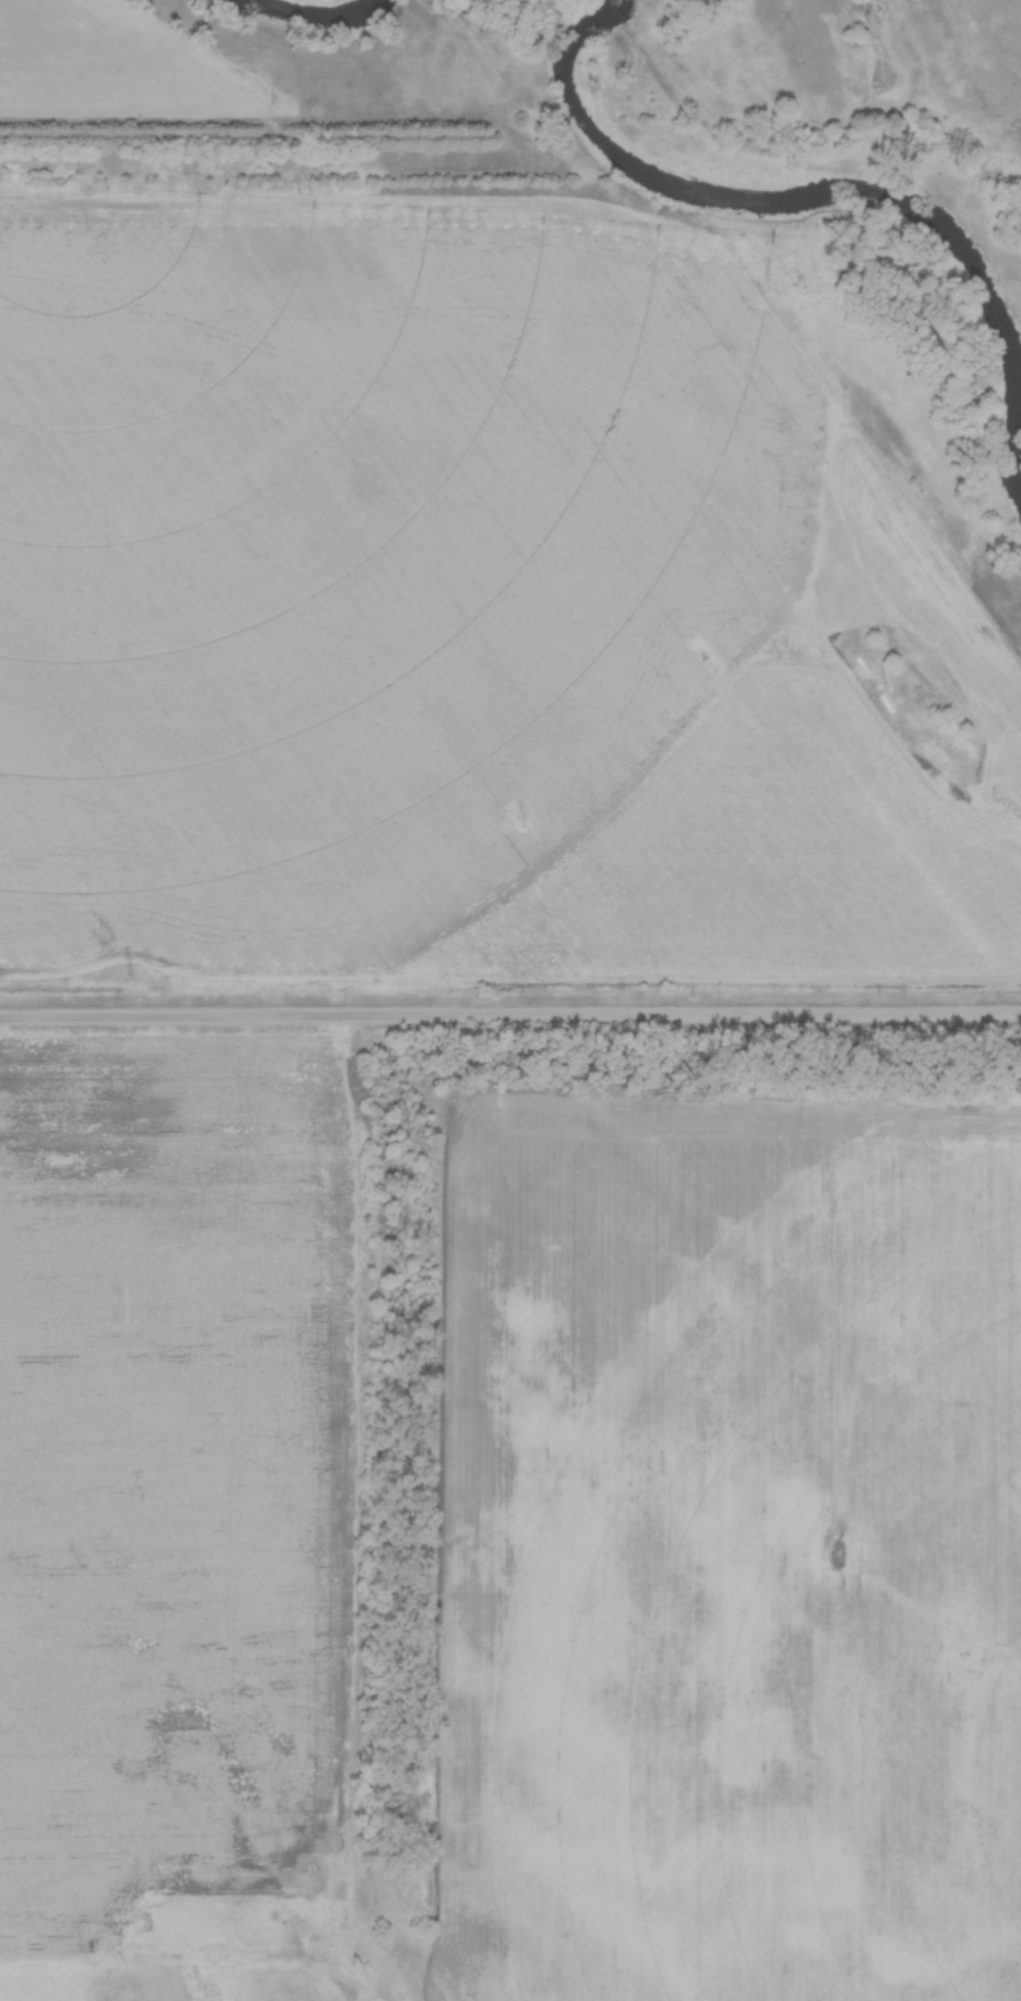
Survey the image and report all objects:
river: (327, 9)
river: (823, 187)
power tower: (881, 686)
power tower: (521, 821)
power tower: (128, 970)
road: (510, 1017)

